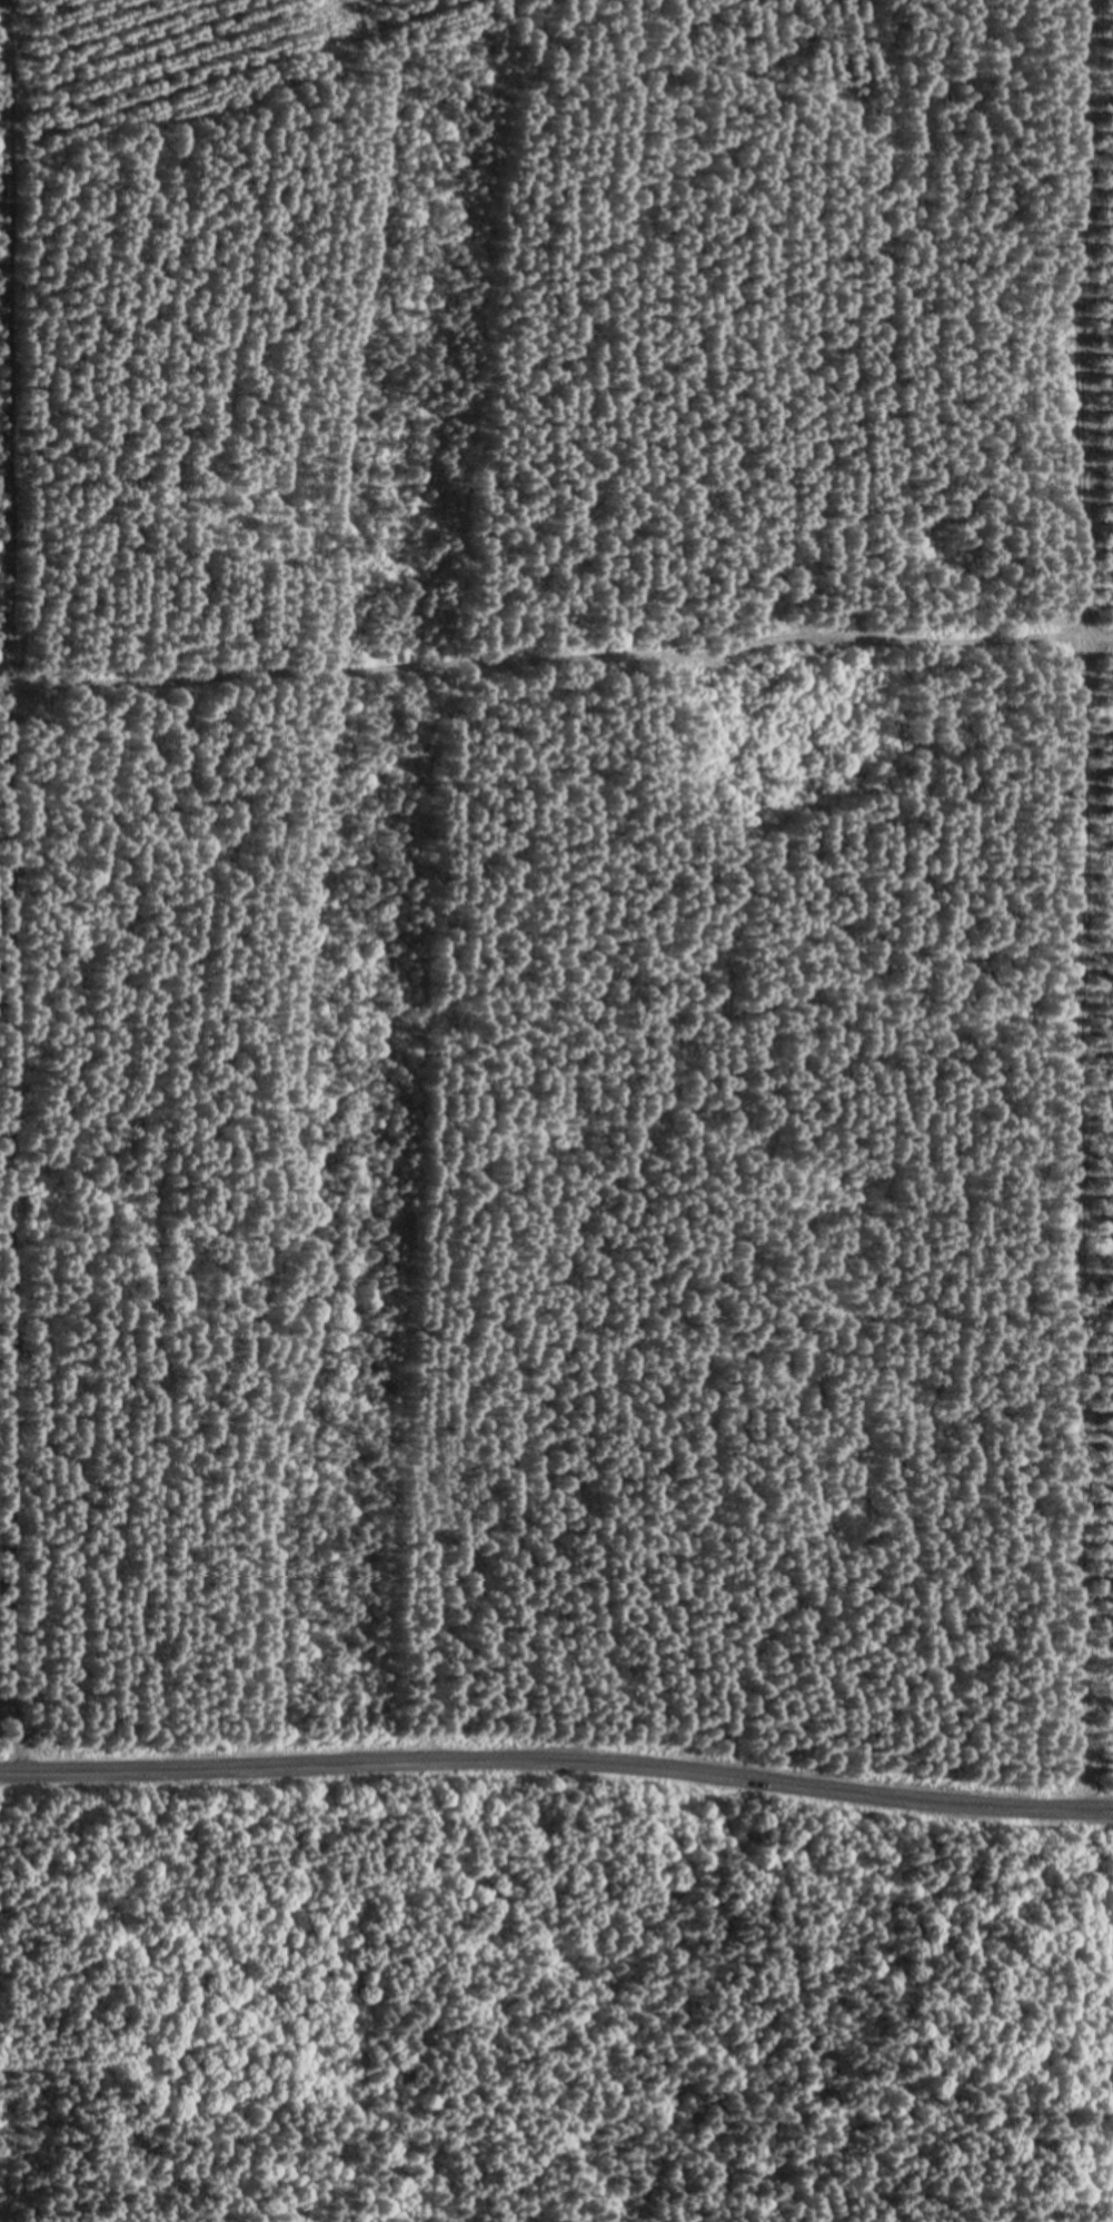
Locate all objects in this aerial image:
road: (557, 1764)

